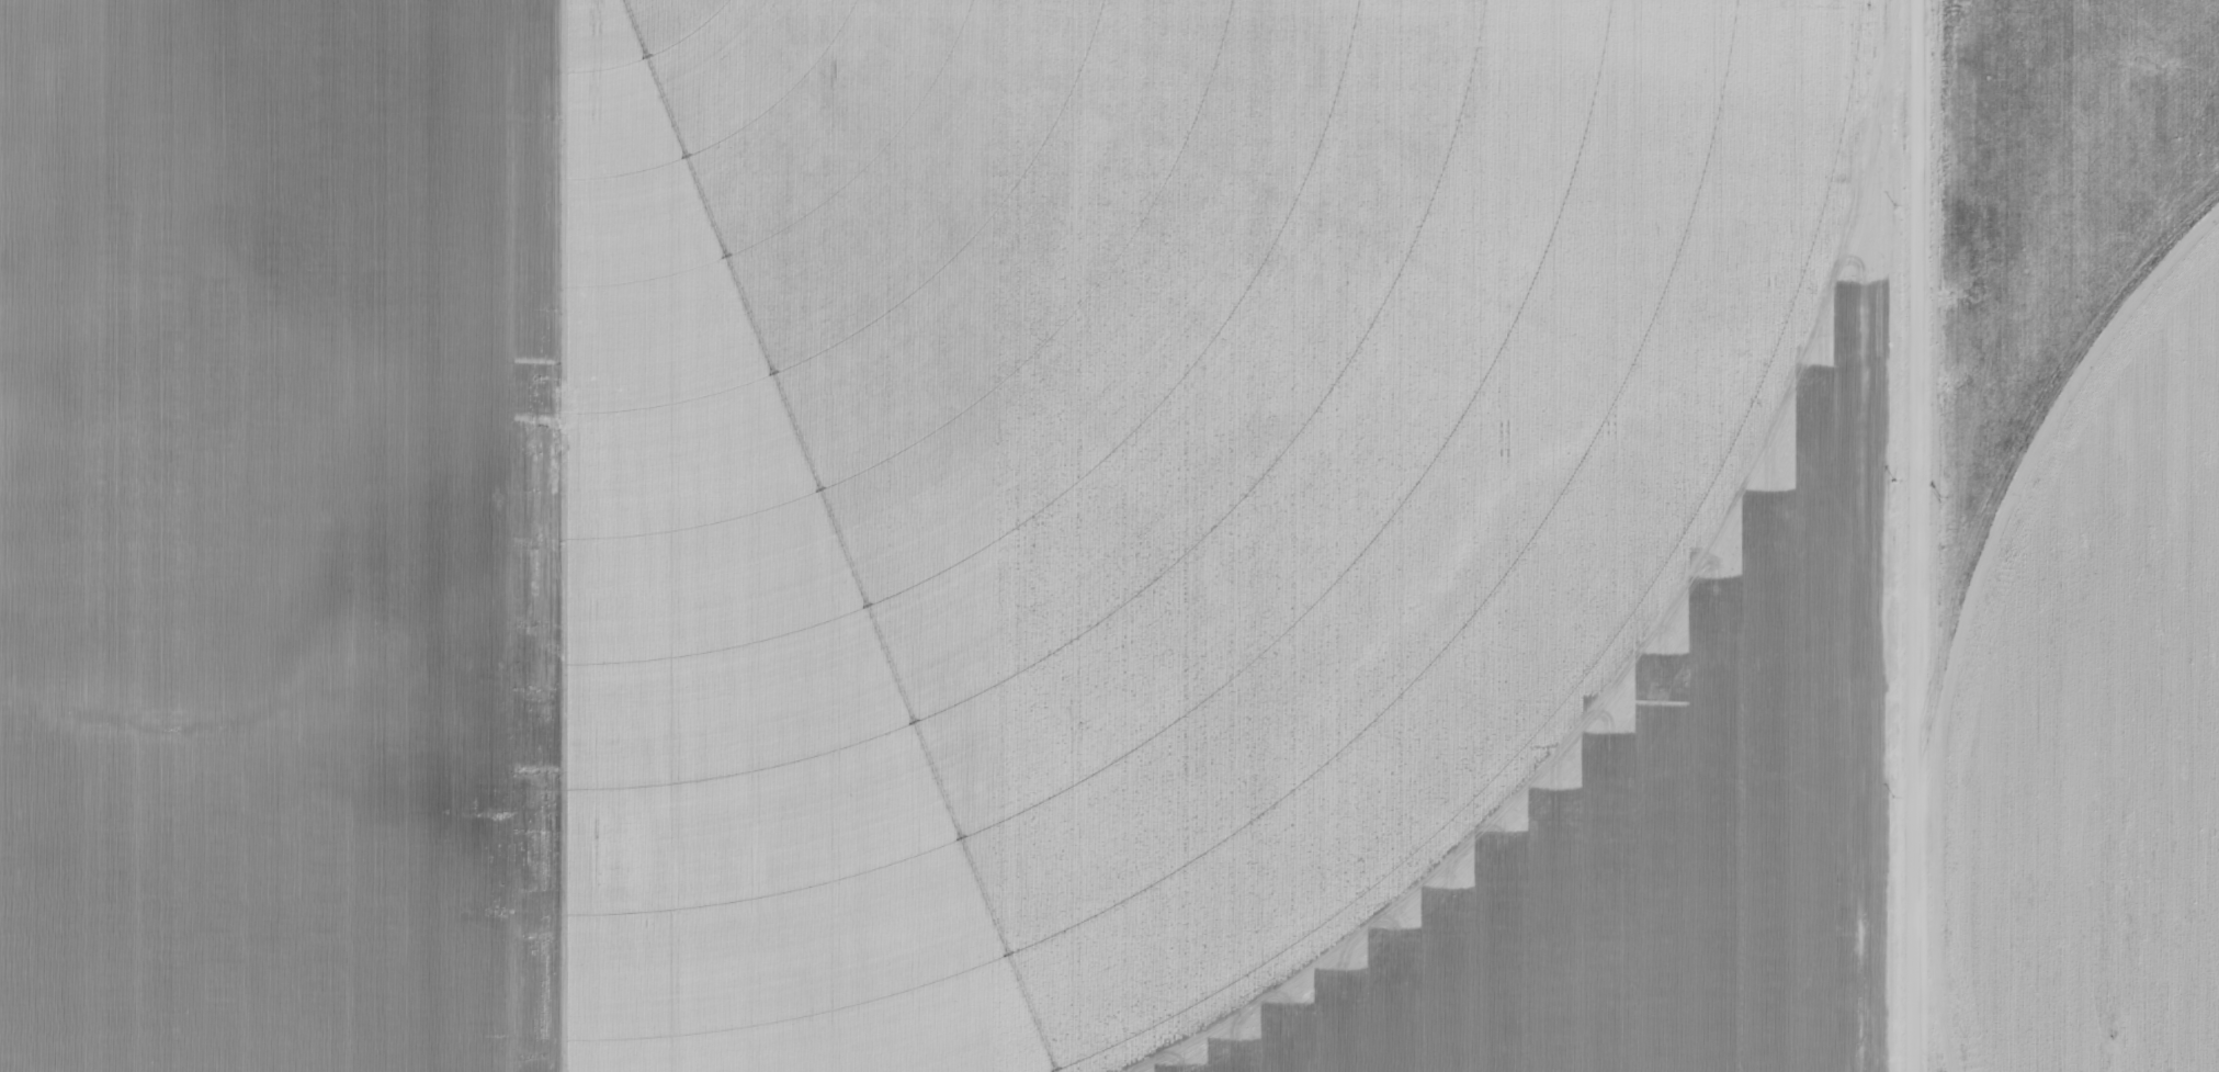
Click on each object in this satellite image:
road: (1944, 535)

